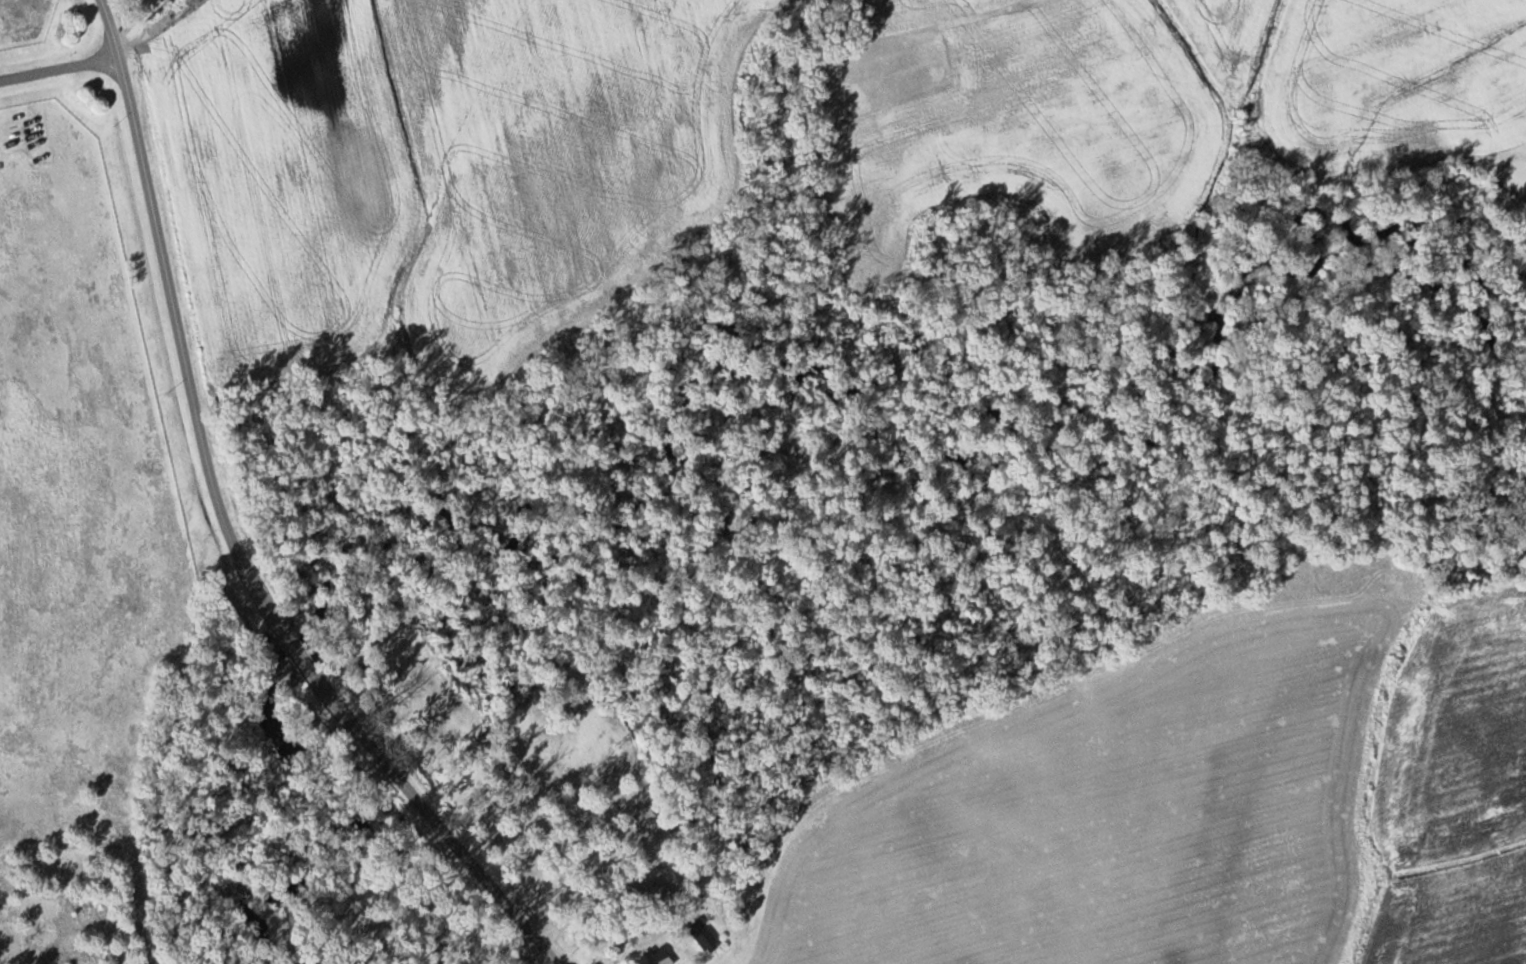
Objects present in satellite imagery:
road: (59, 68)
road: (174, 311)
river: (737, 451)
road: (297, 652)
building: (645, 816)
road: (441, 827)
building: (654, 891)
building: (706, 938)
building: (655, 957)

